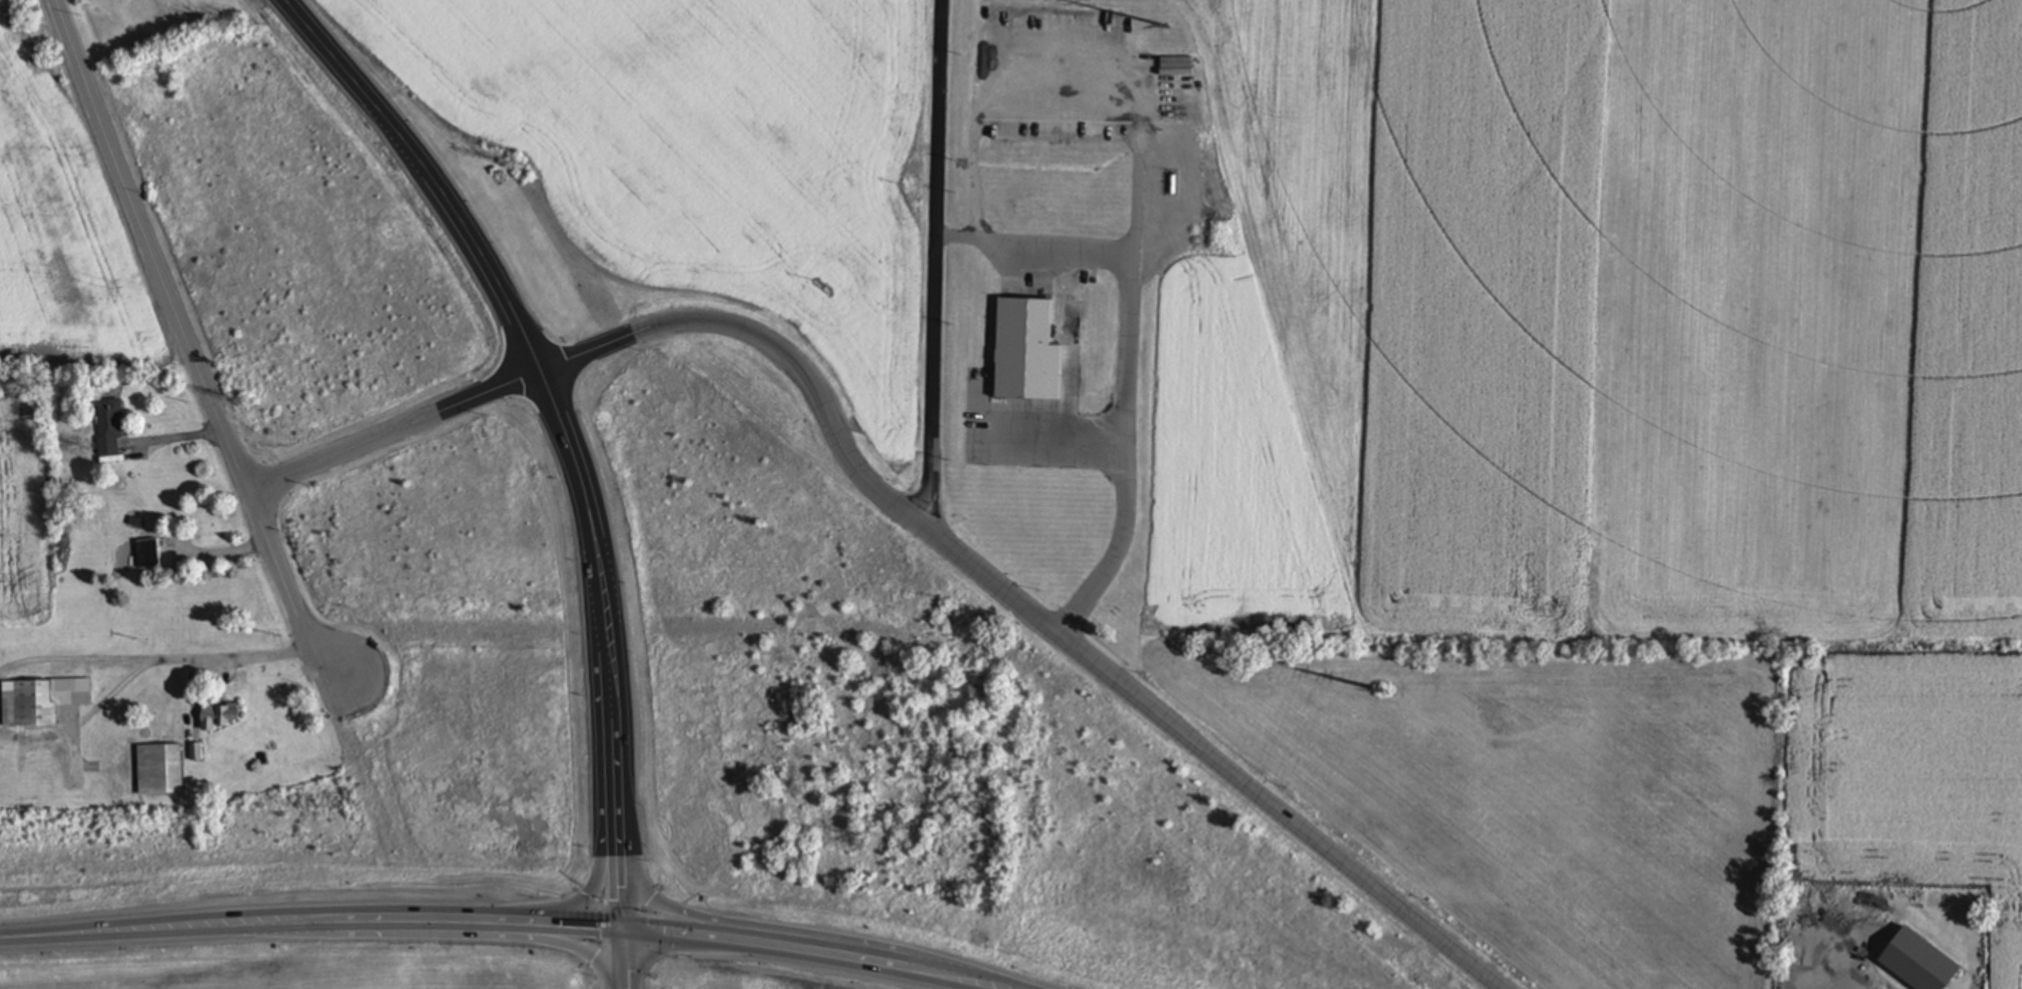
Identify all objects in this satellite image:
power tower: (1169, 29)
road: (1069, 94)
power tower: (516, 163)
crop: (690, 169)
road: (483, 258)
road: (936, 263)
crop: (56, 287)
road: (189, 344)
building: (1027, 351)
road: (1132, 353)
power tower: (247, 401)
building: (110, 426)
road: (395, 431)
road: (1063, 444)
building: (148, 554)
road: (1021, 606)
road: (229, 657)
road: (72, 659)
power tower: (1379, 692)
building: (40, 700)
road: (614, 705)
building: (220, 717)
road: (83, 723)
road: (600, 756)
building: (159, 769)
road: (621, 890)
road: (388, 920)
road: (582, 925)
traffic signals: (623, 930)
road: (117, 931)
road: (805, 936)
road: (436, 937)
road: (814, 954)
road: (624, 959)
road: (1832, 985)

